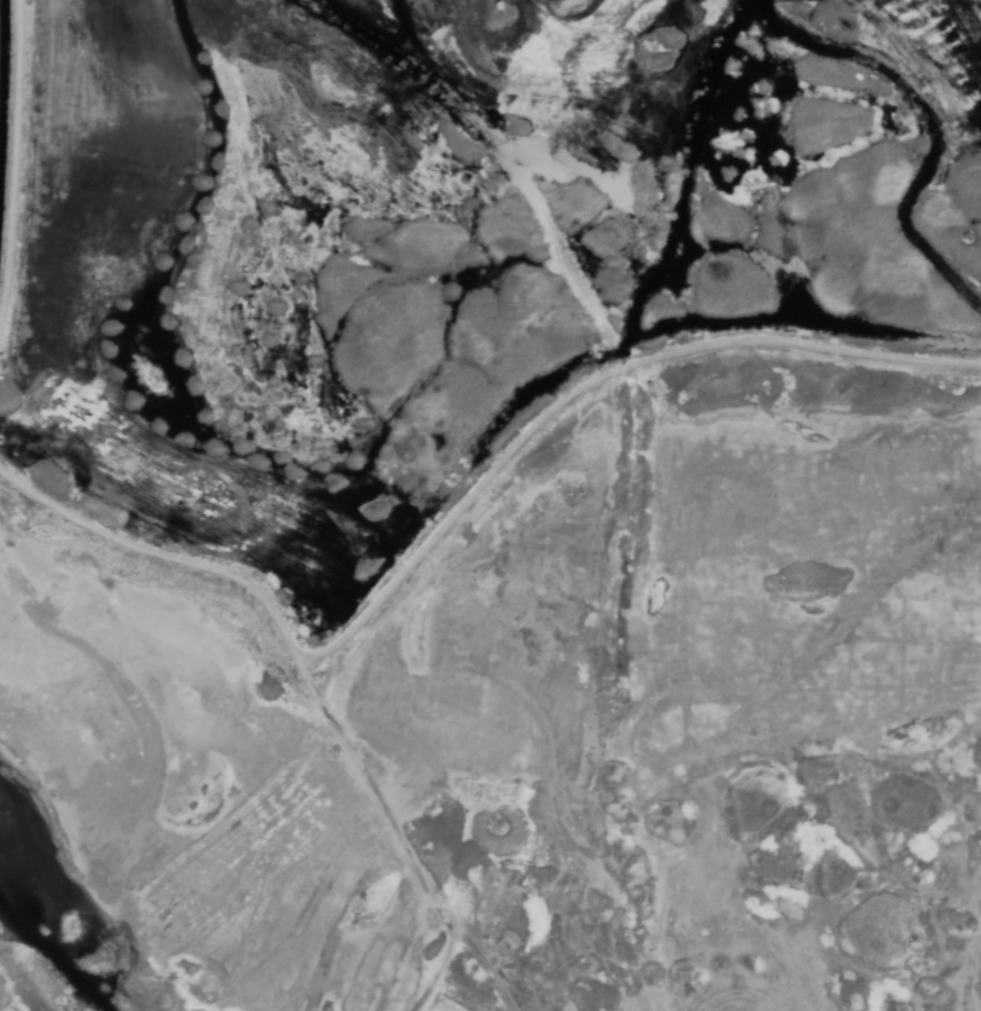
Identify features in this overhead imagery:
road: (180, 562)

